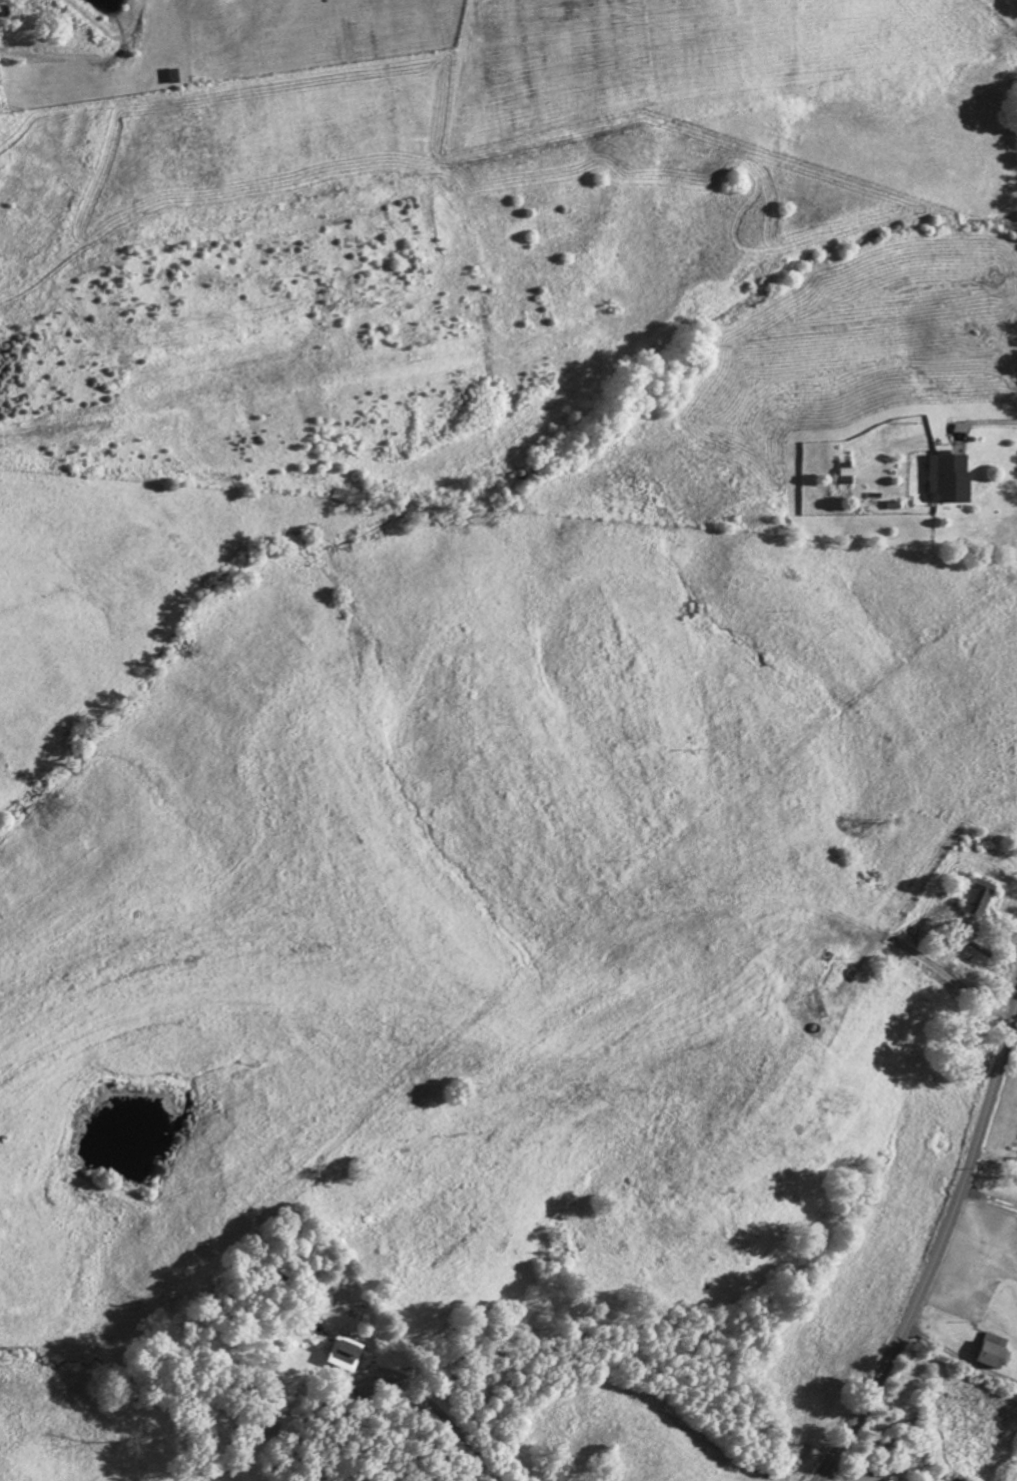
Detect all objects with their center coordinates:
road: (986, 423)
building: (948, 482)
building: (974, 900)
road: (989, 1202)
road: (936, 1253)
building: (344, 1357)
building: (983, 1358)
road: (958, 1360)
road: (444, 1423)

